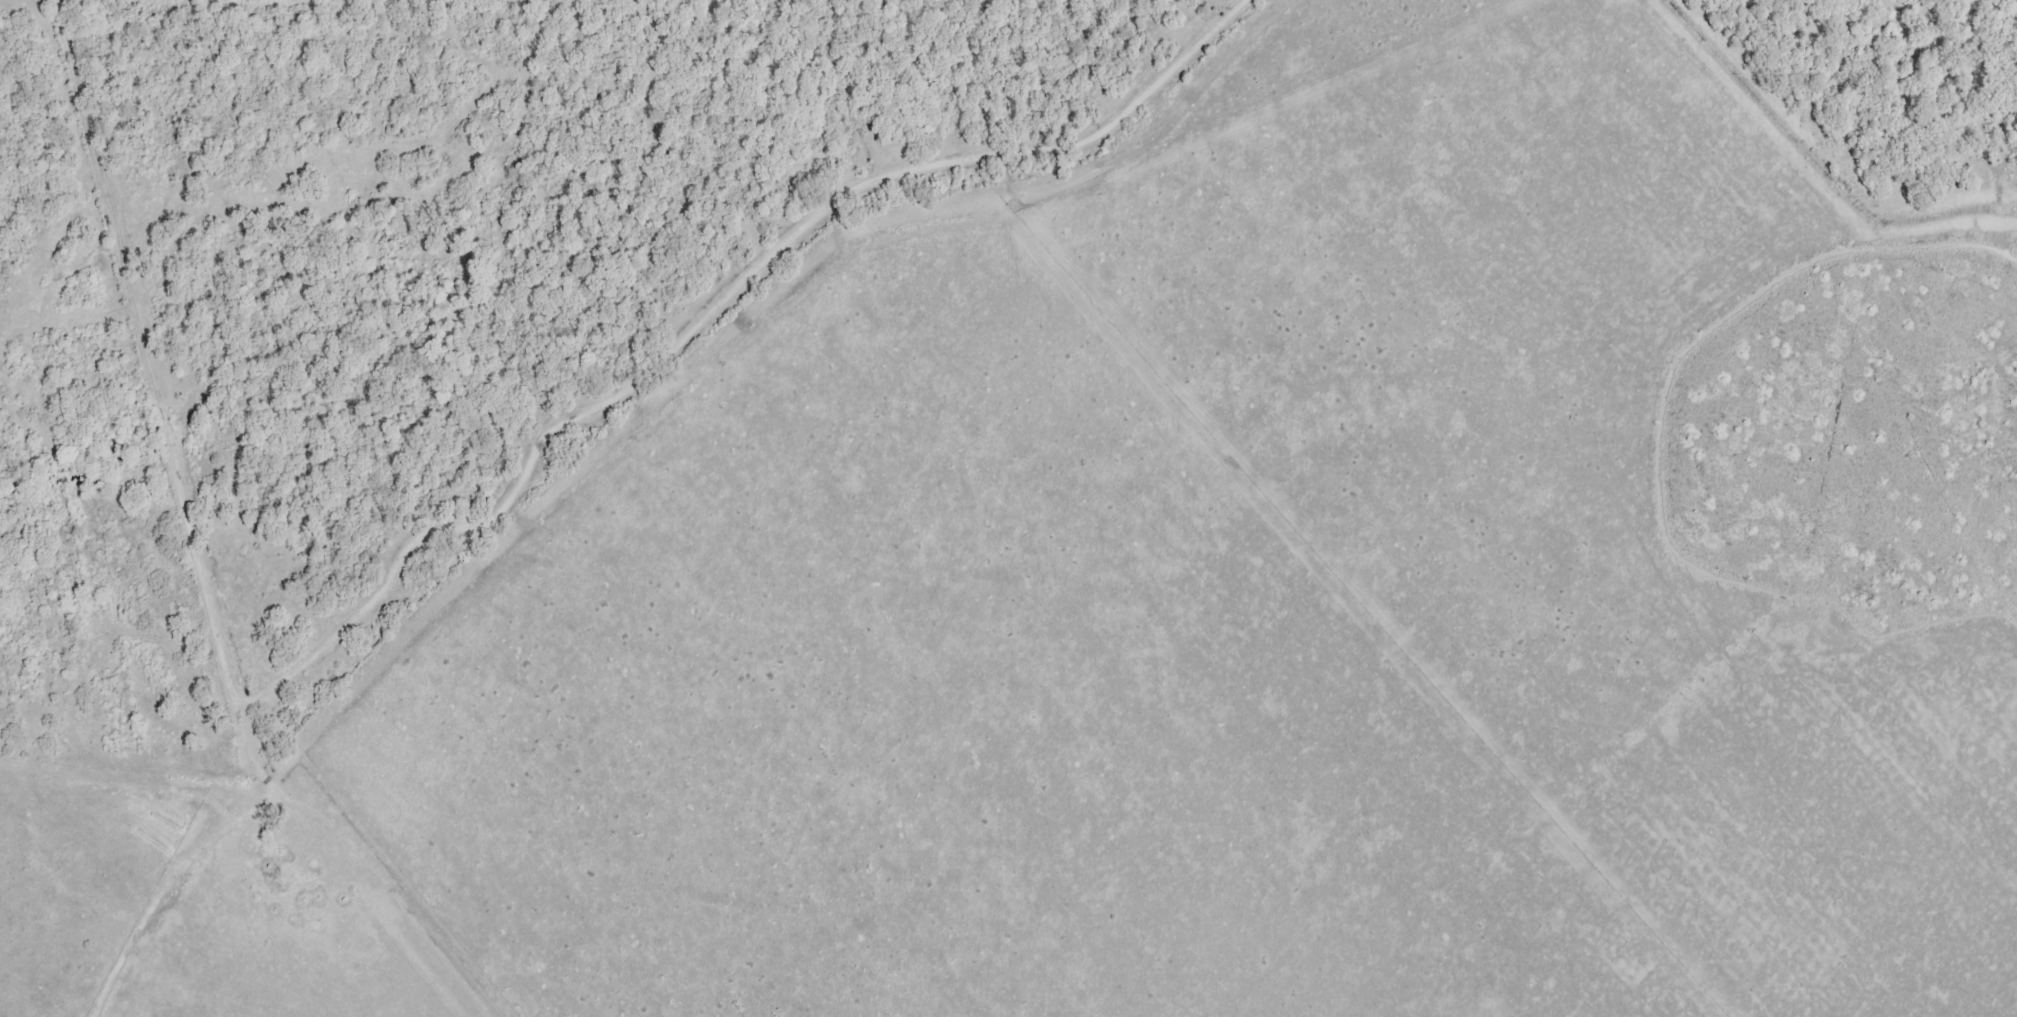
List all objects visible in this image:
road: (715, 309)
road: (159, 384)

